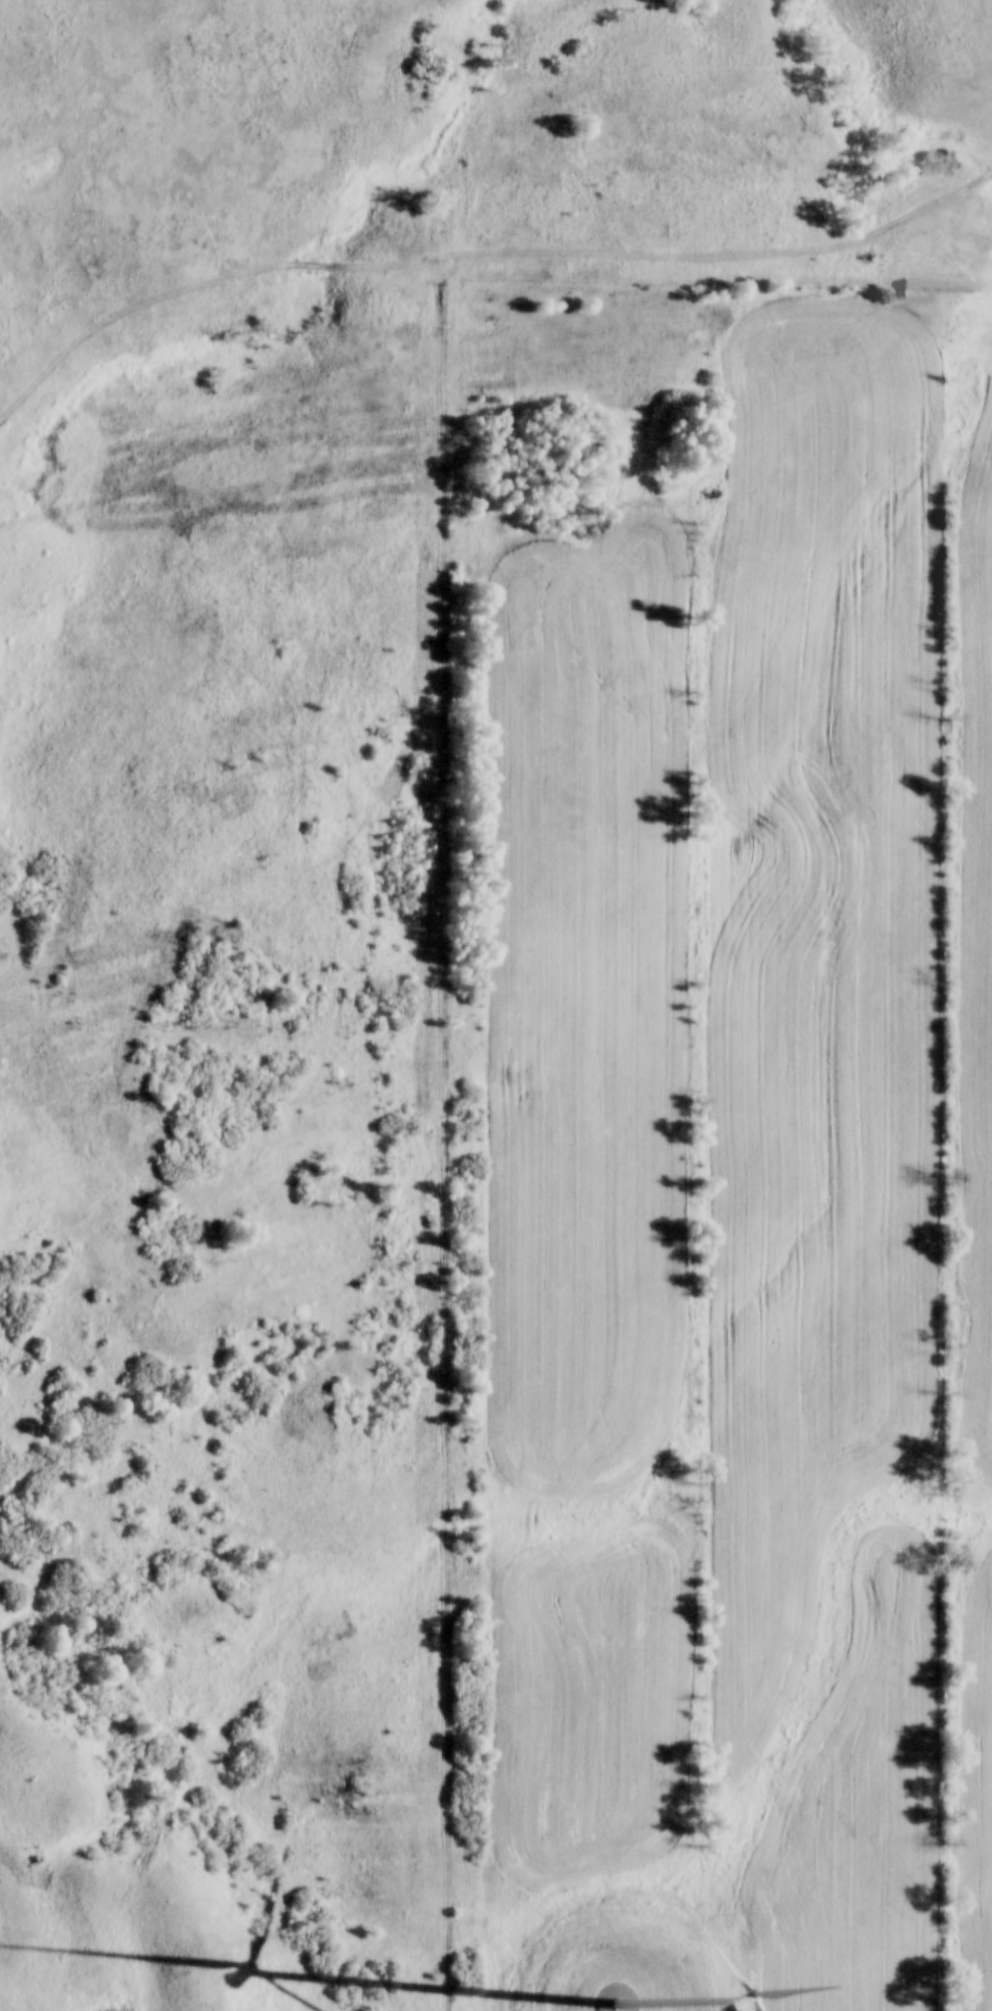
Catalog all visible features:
wind turbine: (616, 2005)

